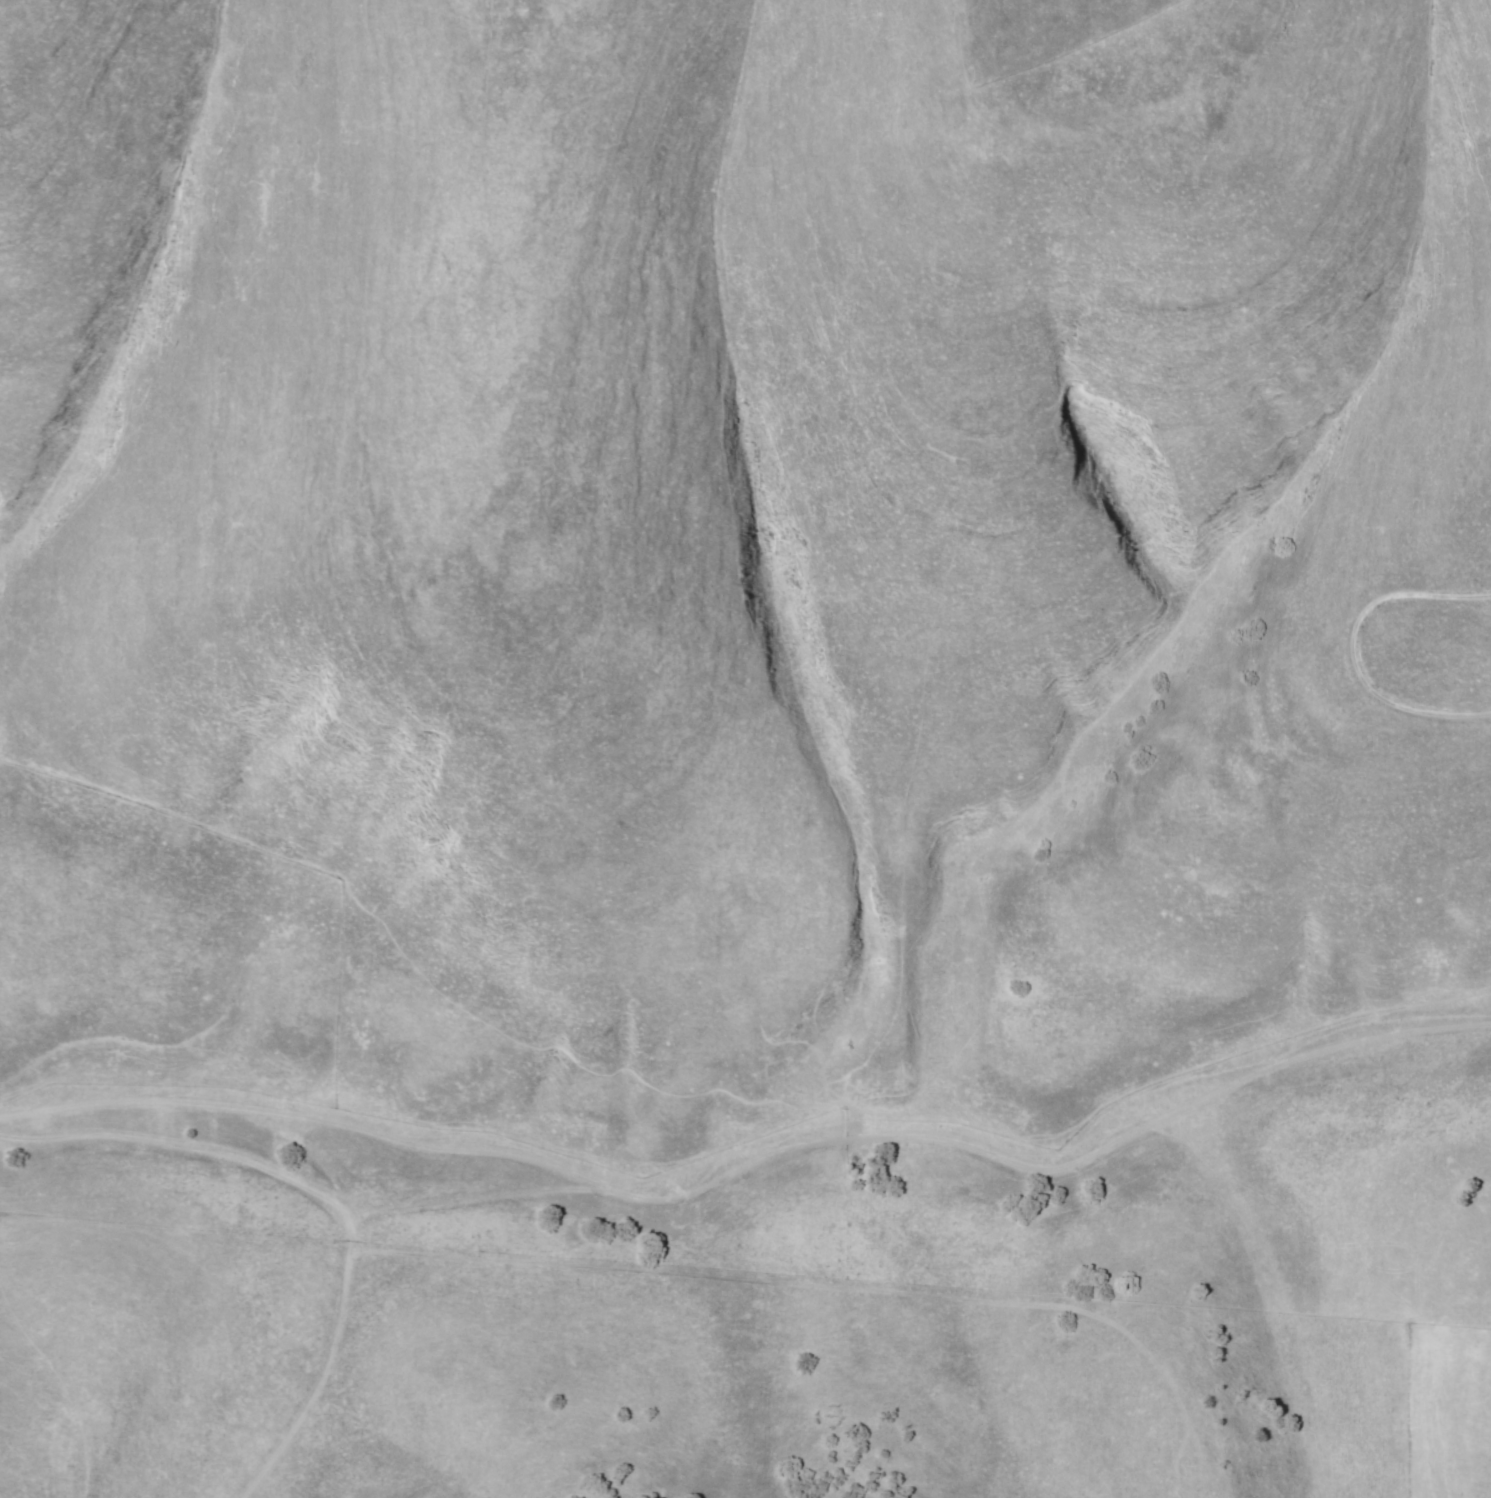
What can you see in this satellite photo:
road: (1359, 649)
road: (745, 1203)
road: (224, 1214)
road: (321, 1382)

